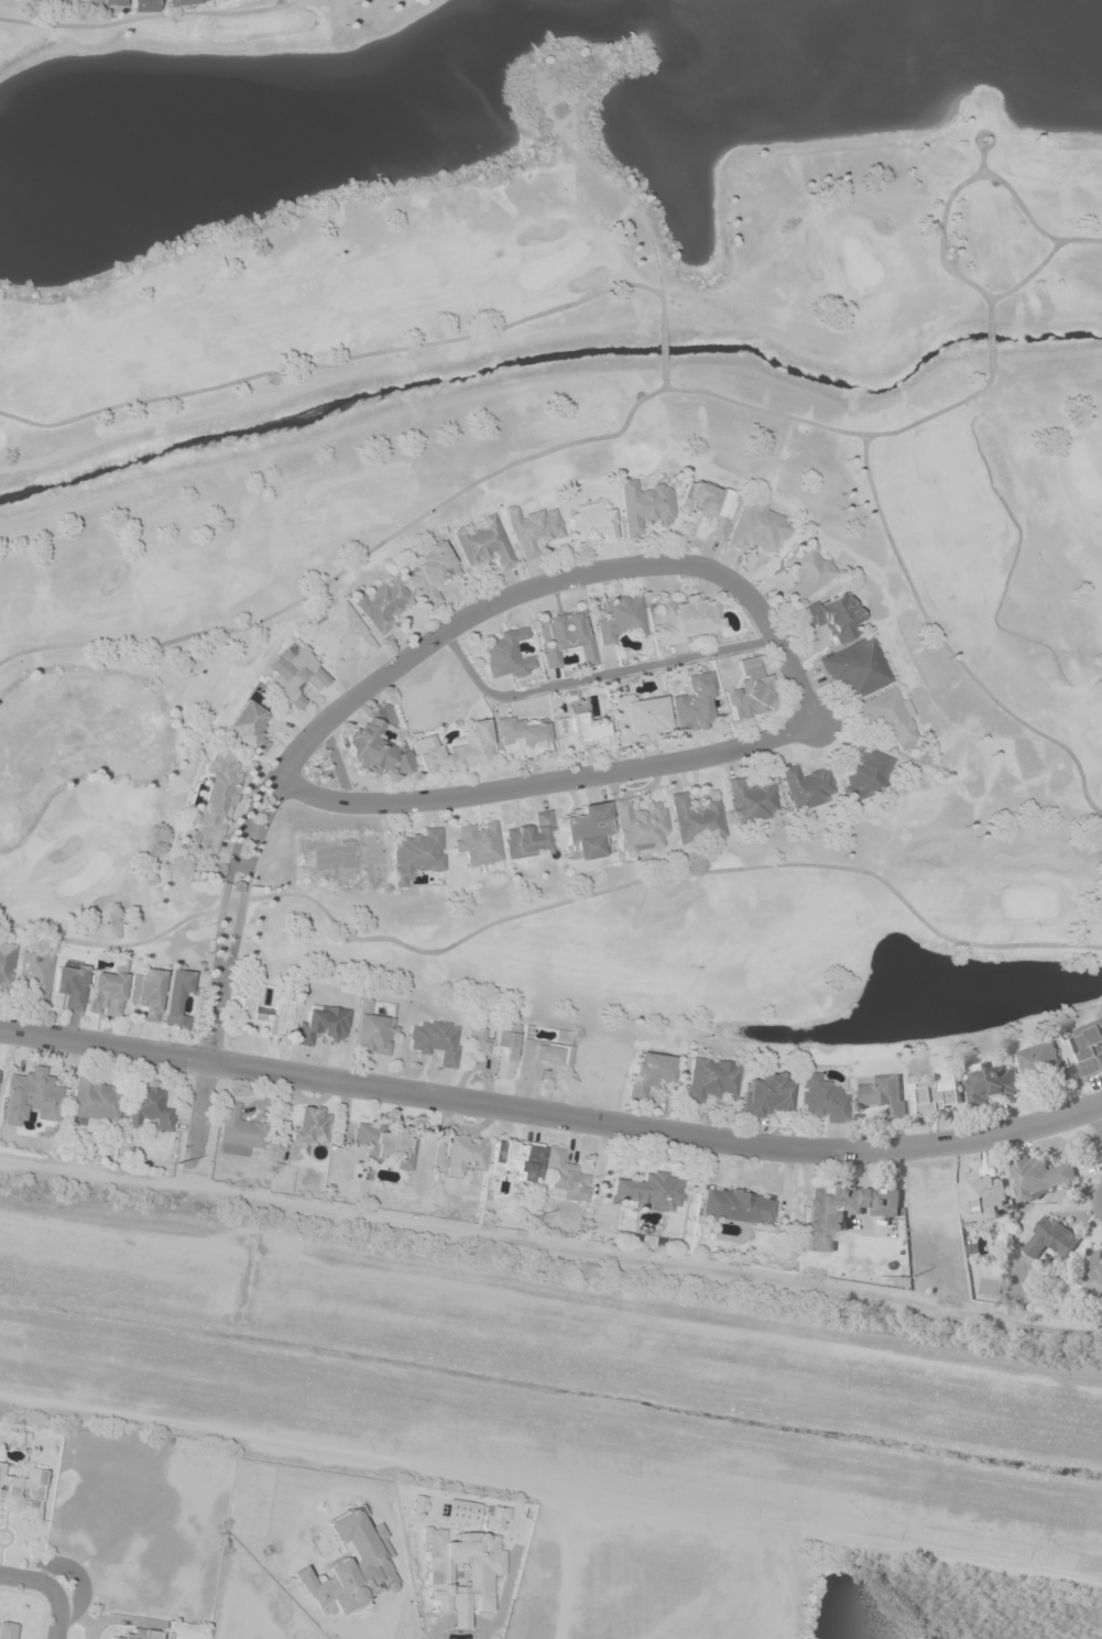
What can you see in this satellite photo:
building: (63, 0)
building: (222, 0)
building: (100, 2)
building: (182, 2)
building: (142, 6)
building: (643, 506)
building: (709, 506)
building: (591, 522)
building: (531, 529)
building: (757, 529)
building: (482, 544)
road: (680, 561)
building: (805, 571)
building: (430, 572)
building: (381, 603)
building: (830, 616)
building: (620, 618)
building: (687, 618)
building: (338, 634)
building: (564, 636)
building: (505, 654)
building: (854, 669)
building: (294, 674)
road: (591, 677)
building: (749, 690)
building: (692, 704)
building: (885, 717)
building: (635, 718)
building: (248, 726)
building: (580, 729)
building: (521, 737)
building: (375, 749)
building: (455, 750)
building: (864, 775)
building: (806, 786)
building: (751, 799)
building: (212, 802)
building: (696, 819)
building: (639, 827)
building: (585, 831)
building: (528, 838)
building: (479, 845)
building: (415, 855)
building: (7, 964)
building: (34, 976)
building: (69, 985)
building: (107, 992)
building: (144, 993)
building: (175, 998)
building: (262, 1012)
building: (320, 1025)
building: (372, 1034)
building: (434, 1041)
building: (493, 1045)
building: (1090, 1047)
building: (542, 1058)
building: (1040, 1061)
building: (648, 1072)
building: (710, 1080)
building: (993, 1083)
building: (938, 1090)
building: (765, 1094)
building: (883, 1094)
building: (30, 1097)
building: (822, 1097)
building: (95, 1102)
building: (149, 1106)
road: (199, 1110)
road: (552, 1114)
building: (308, 1128)
building: (237, 1132)
building: (384, 1144)
building: (463, 1155)
building: (517, 1159)
building: (1041, 1174)
building: (564, 1177)
building: (646, 1192)
building: (986, 1199)
building: (738, 1206)
building: (844, 1210)
building: (1051, 1238)
road: (672, 1269)
building: (1094, 1270)
building: (21, 1494)
building: (416, 1506)
building: (459, 1512)
building: (493, 1518)
road: (76, 1571)
building: (459, 1573)
road: (28, 1578)
road: (54, 1615)
building: (141, 1635)

